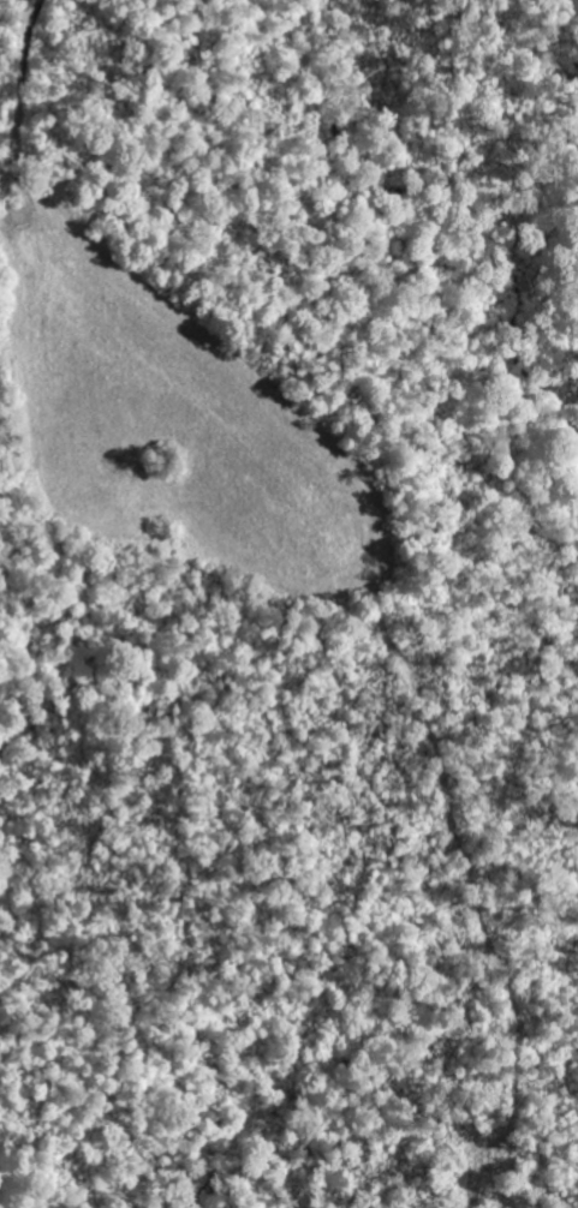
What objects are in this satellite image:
road: (52, 883)

